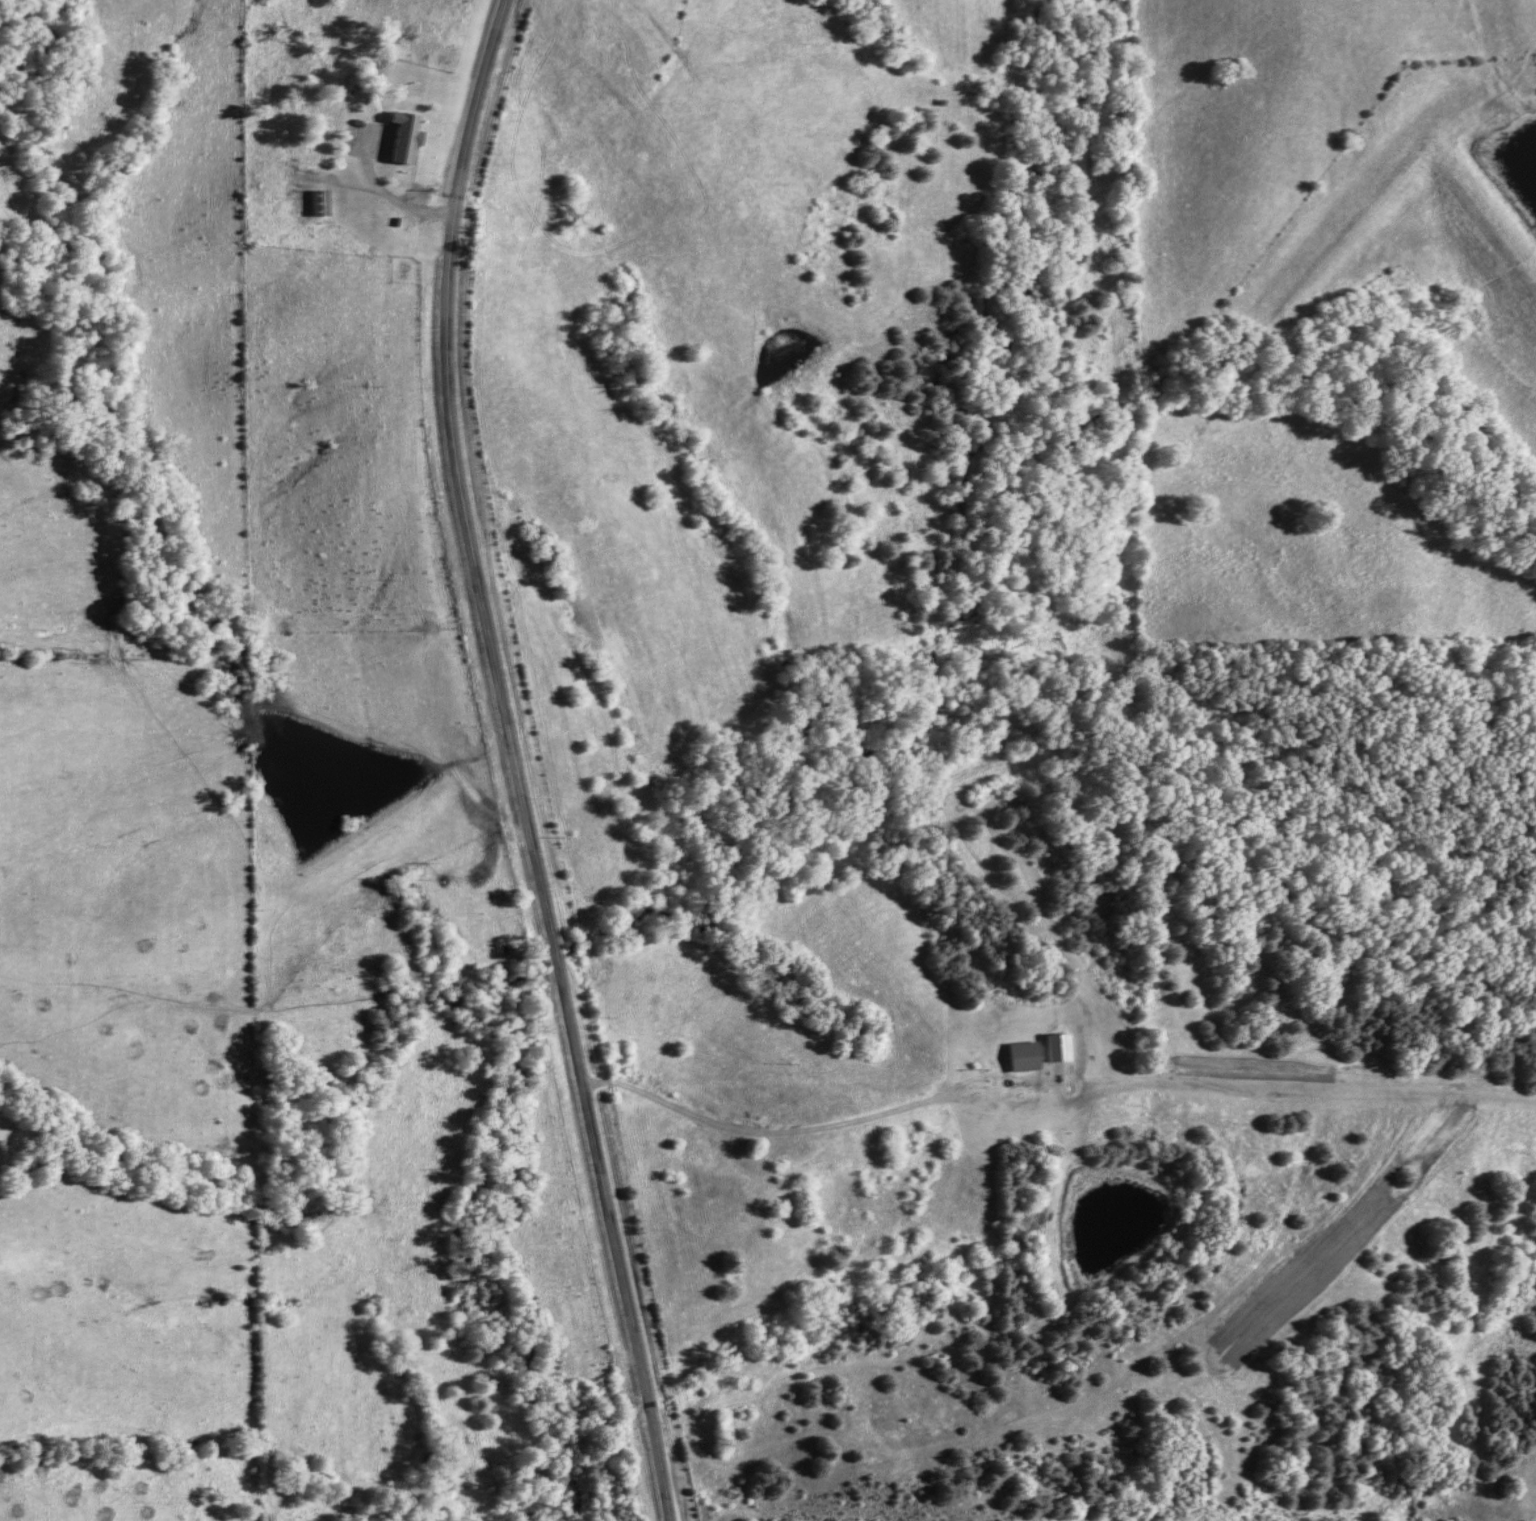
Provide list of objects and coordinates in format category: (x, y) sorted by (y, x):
building: (400, 136)
building: (316, 203)
road: (399, 203)
road: (515, 761)

